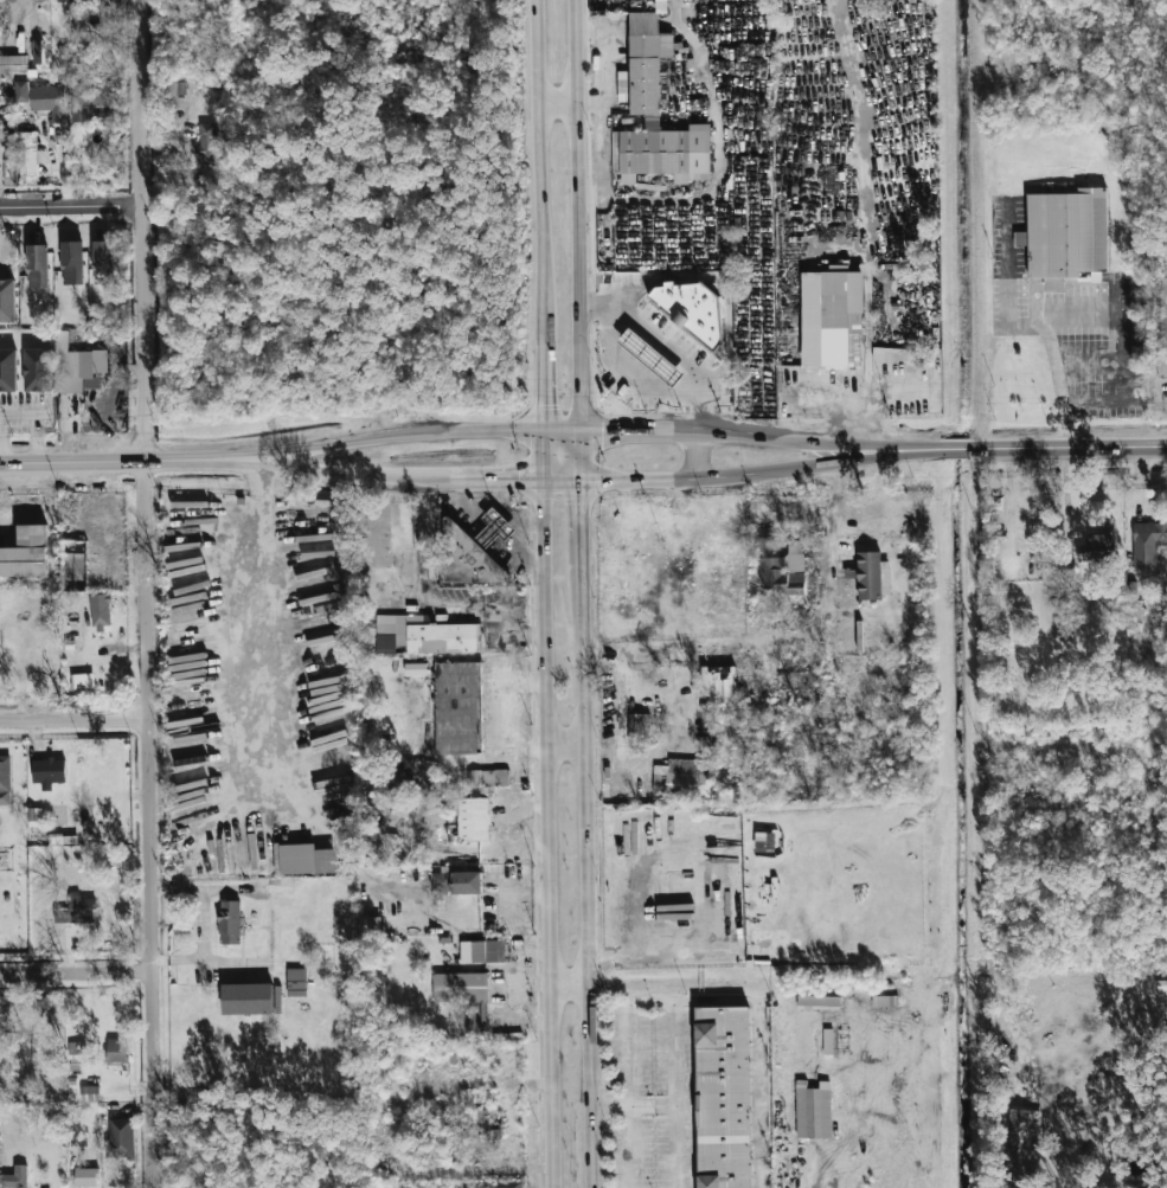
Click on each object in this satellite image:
building: (72, 0)
building: (37, 51)
building: (72, 57)
building: (13, 66)
building: (44, 99)
building: (92, 103)
road: (605, 107)
road: (556, 109)
building: (654, 114)
road: (717, 142)
building: (206, 146)
building: (27, 155)
road: (536, 172)
road: (594, 201)
road: (71, 211)
road: (577, 216)
building: (1066, 237)
road: (866, 238)
building: (1020, 238)
building: (103, 262)
building: (72, 263)
building: (38, 265)
building: (7, 301)
building: (692, 310)
road: (1038, 326)
building: (1162, 328)
road: (1121, 338)
road: (667, 343)
building: (650, 358)
gas station: (650, 358)
building: (38, 370)
building: (8, 371)
building: (78, 371)
road: (627, 371)
road: (858, 398)
traffic signals: (539, 404)
road: (539, 410)
road: (412, 432)
road: (607, 432)
traffic signals: (609, 434)
road: (817, 442)
road: (1063, 450)
road: (697, 456)
road: (145, 463)
road: (770, 469)
road: (364, 473)
road: (509, 479)
traffic signals: (512, 479)
road: (680, 493)
road: (581, 500)
traffic signals: (581, 500)
road: (697, 506)
building: (494, 529)
gas station: (494, 529)
building: (1147, 542)
building: (1098, 544)
building: (26, 553)
building: (468, 559)
road: (611, 559)
road: (596, 560)
building: (690, 569)
building: (783, 572)
building: (872, 576)
road: (147, 593)
road: (488, 609)
building: (100, 611)
road: (252, 618)
building: (429, 635)
road: (784, 635)
road: (507, 653)
building: (412, 668)
building: (802, 680)
building: (82, 681)
building: (713, 681)
building: (457, 707)
road: (504, 713)
road: (620, 715)
road: (75, 721)
building: (641, 728)
road: (564, 745)
road: (429, 751)
road: (982, 758)
building: (415, 769)
building: (49, 771)
building: (682, 777)
building: (489, 778)
building: (5, 779)
building: (473, 818)
road: (543, 833)
building: (304, 859)
road: (588, 878)
building: (456, 881)
building: (283, 894)
building: (76, 910)
building: (229, 921)
building: (370, 925)
building: (248, 926)
road: (650, 949)
building: (481, 951)
road: (76, 974)
road: (568, 976)
building: (296, 982)
building: (460, 987)
building: (248, 998)
building: (885, 1001)
building: (817, 1002)
road: (631, 1032)
building: (827, 1041)
building: (77, 1048)
building: (117, 1049)
road: (758, 1053)
building: (91, 1093)
road: (674, 1094)
building: (724, 1097)
building: (813, 1112)
building: (121, 1138)
road: (631, 1147)
road: (677, 1147)
building: (1021, 1152)
building: (17, 1177)
building: (86, 1177)
building: (506, 1184)

